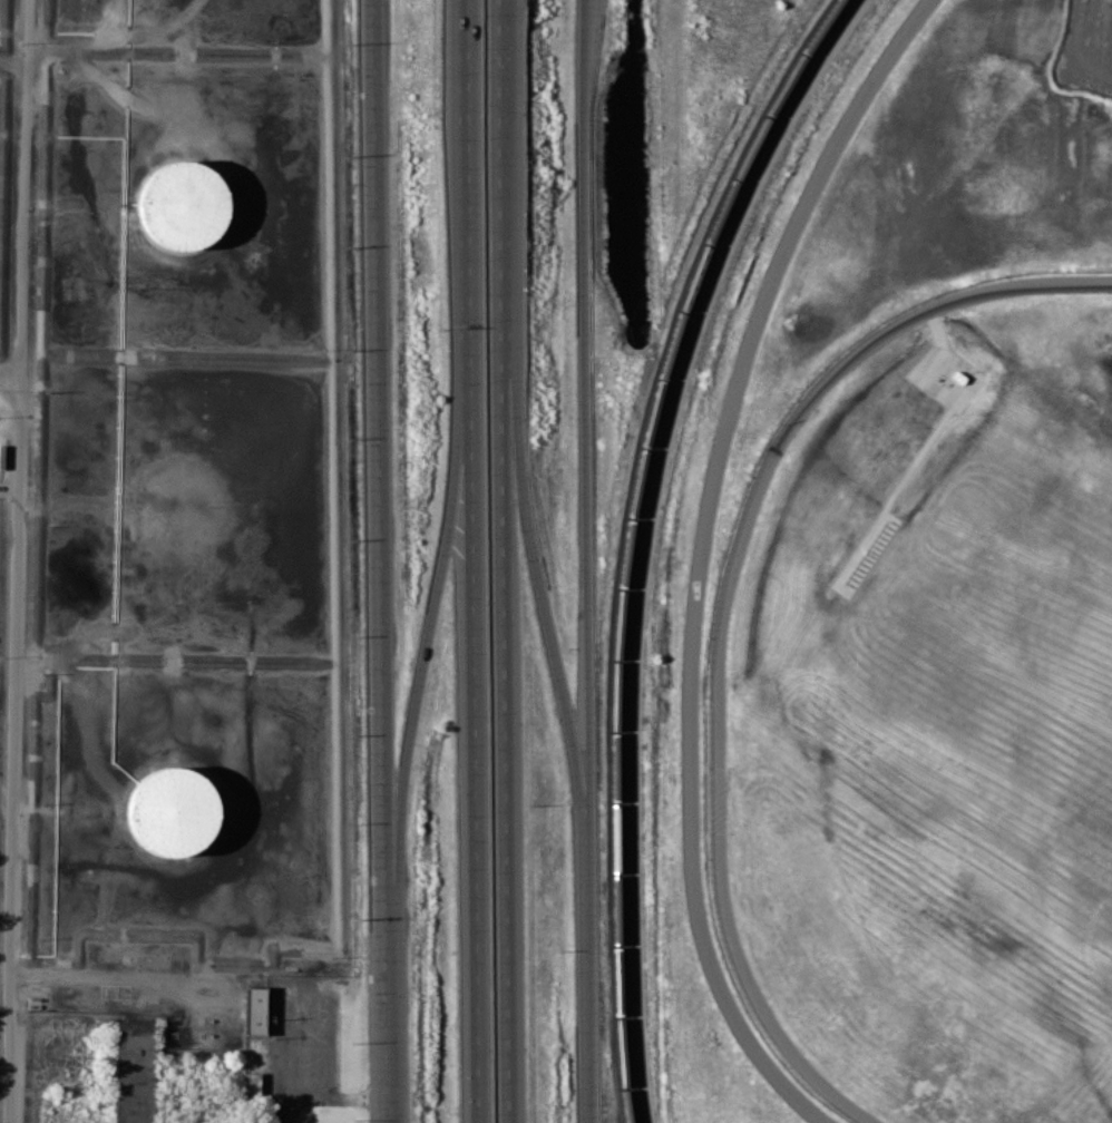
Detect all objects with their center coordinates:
road: (469, 145)
road: (23, 192)
building: (186, 209)
storage tank: (186, 209)
road: (589, 438)
road: (380, 463)
railway: (627, 538)
railway: (640, 538)
road: (698, 557)
road: (504, 560)
road: (433, 608)
road: (724, 608)
road: (548, 618)
road: (471, 706)
airport: (926, 715)
road: (16, 745)
building: (172, 811)
storage tank: (172, 811)
road: (587, 999)
building: (254, 1010)
road: (389, 1025)
road: (328, 1103)

